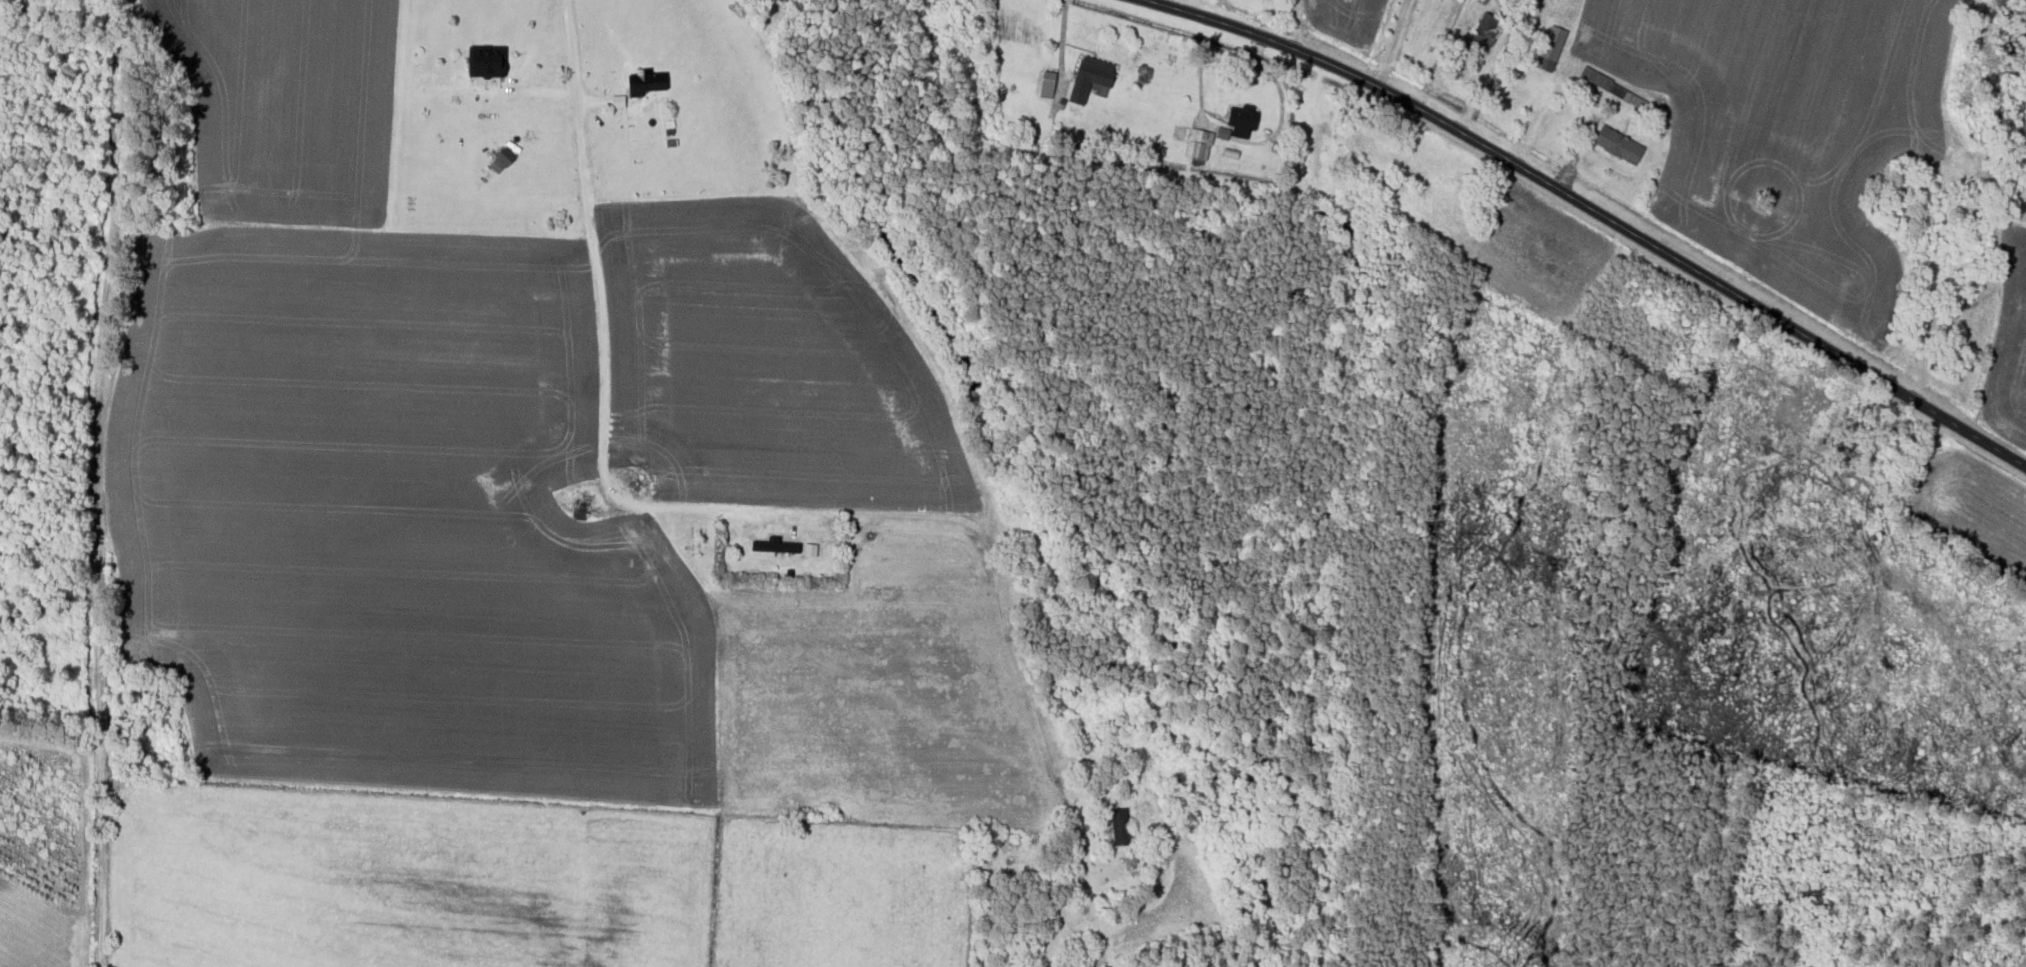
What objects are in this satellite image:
building: (1485, 31)
building: (1551, 49)
building: (488, 62)
building: (1091, 78)
building: (648, 83)
building: (1048, 85)
building: (1244, 121)
building: (1199, 145)
building: (1619, 146)
building: (499, 164)
road: (1596, 211)
road: (69, 486)
building: (586, 506)
road: (903, 589)
building: (1121, 828)
building: (984, 836)
building: (1131, 859)
building: (1038, 947)

